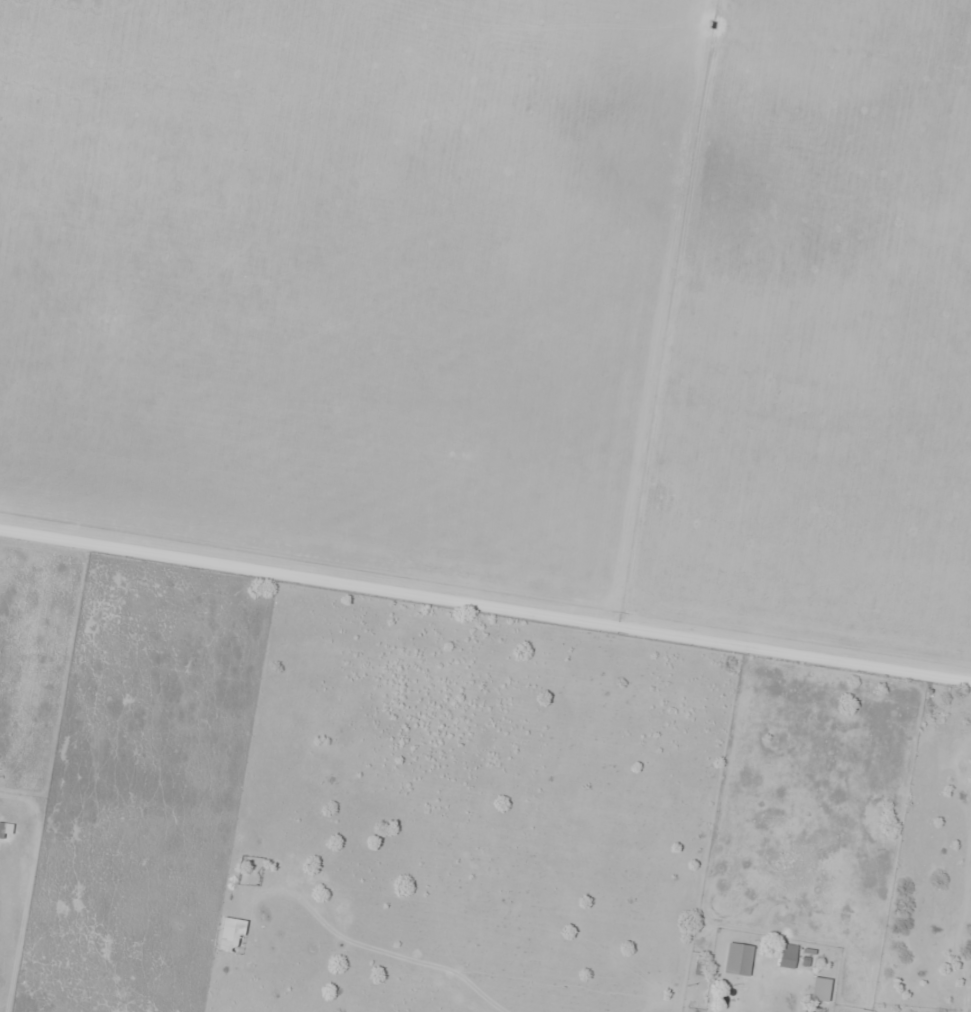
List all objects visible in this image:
building: (233, 935)
building: (788, 956)
building: (739, 959)

